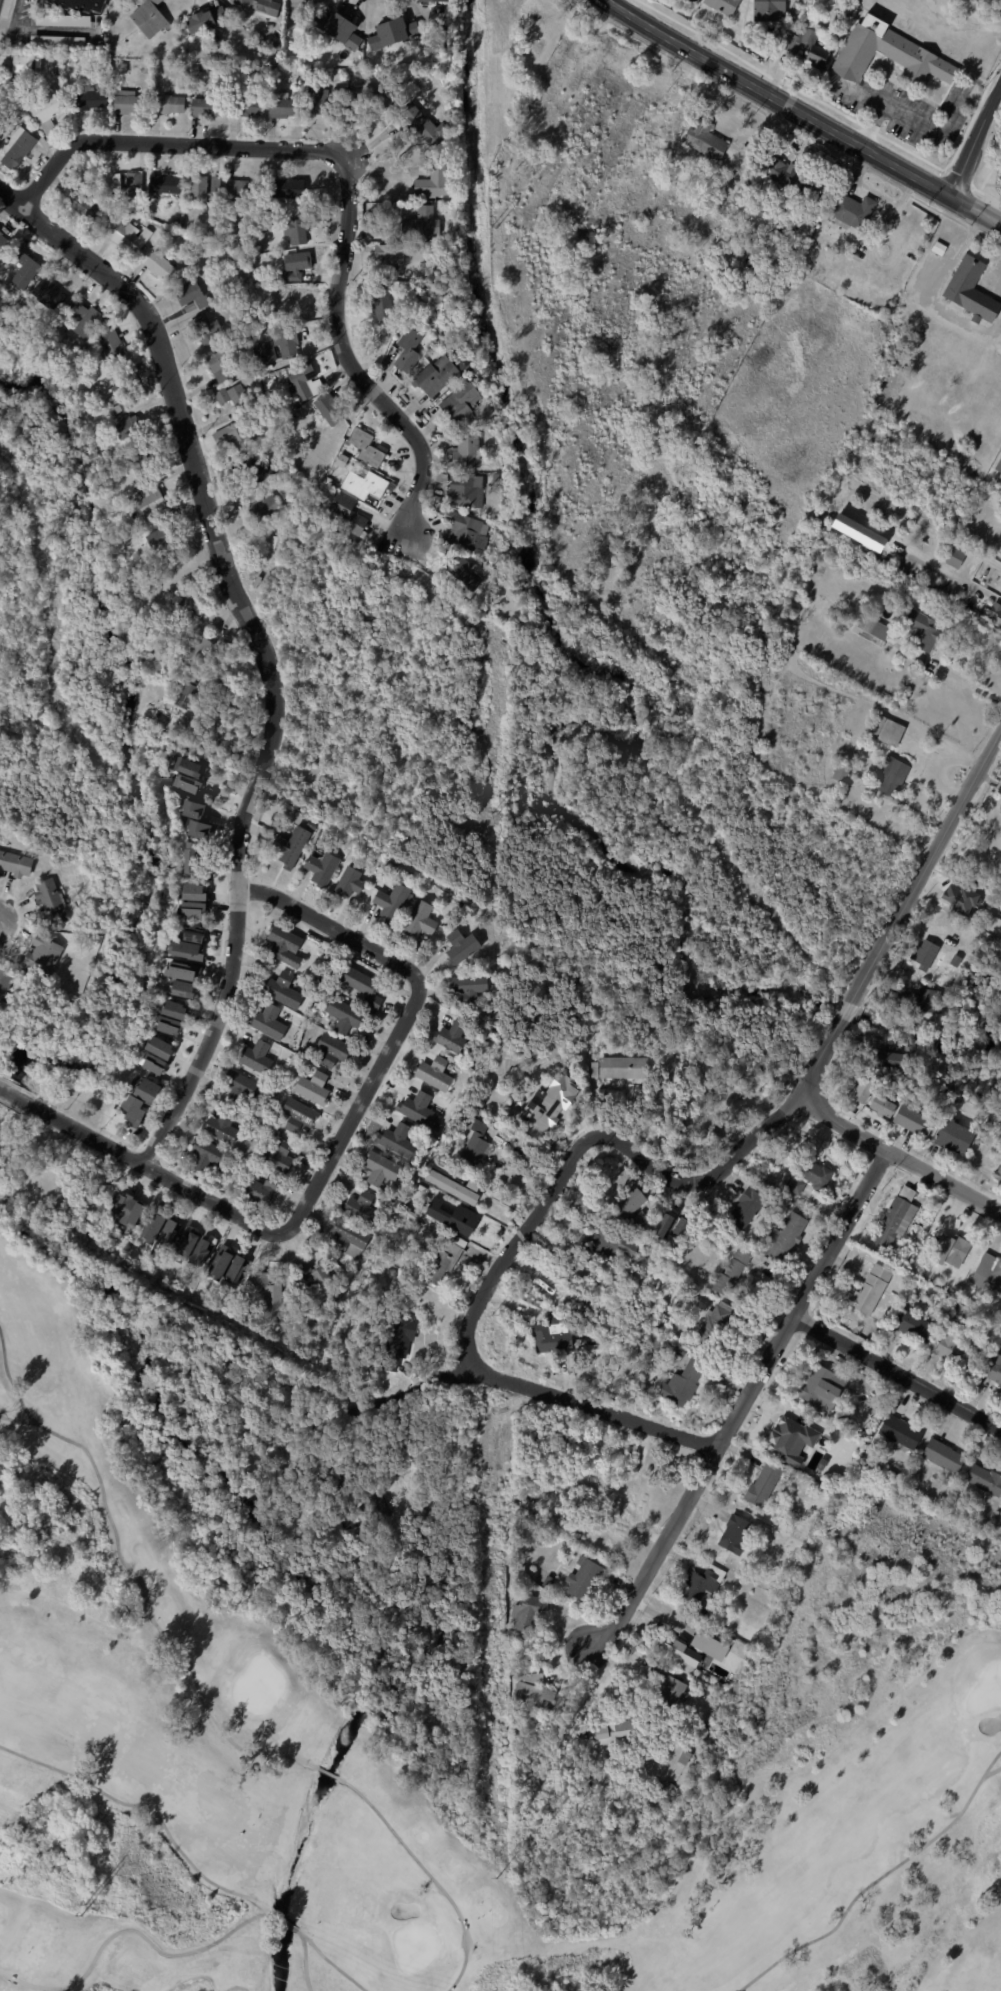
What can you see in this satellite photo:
building: (430, 0)
building: (695, 0)
building: (692, 1)
building: (244, 2)
building: (80, 4)
building: (721, 6)
building: (268, 7)
building: (681, 9)
building: (767, 9)
road: (11, 13)
building: (150, 18)
building: (205, 19)
road: (47, 28)
building: (337, 28)
building: (392, 32)
building: (827, 34)
building: (806, 46)
building: (891, 50)
building: (39, 62)
building: (73, 64)
building: (24, 66)
building: (206, 69)
building: (124, 70)
building: (253, 71)
building: (55, 75)
building: (19, 87)
building: (3, 90)
building: (369, 98)
building: (89, 101)
building: (320, 103)
building: (132, 104)
building: (171, 106)
building: (247, 108)
building: (288, 108)
building: (208, 109)
building: (48, 110)
road: (812, 110)
road: (924, 124)
building: (429, 127)
building: (3, 128)
building: (705, 138)
road: (976, 139)
building: (20, 149)
building: (784, 175)
building: (114, 181)
road: (349, 181)
building: (167, 183)
building: (136, 184)
building: (218, 184)
building: (438, 184)
building: (199, 187)
building: (289, 187)
building: (243, 190)
building: (182, 200)
building: (84, 203)
building: (853, 210)
building: (108, 224)
building: (425, 224)
power tower: (492, 226)
building: (300, 228)
building: (129, 236)
building: (3, 242)
building: (763, 243)
building: (938, 246)
building: (202, 249)
building: (389, 260)
building: (757, 263)
building: (162, 265)
building: (297, 265)
building: (28, 268)
building: (970, 290)
building: (51, 291)
building: (189, 293)
building: (287, 301)
building: (383, 302)
building: (192, 306)
building: (88, 319)
building: (412, 320)
building: (206, 328)
building: (246, 340)
building: (288, 340)
building: (114, 347)
building: (268, 350)
building: (410, 351)
building: (220, 364)
building: (440, 376)
building: (306, 381)
building: (121, 389)
building: (235, 396)
building: (462, 404)
building: (121, 407)
building: (330, 408)
road: (180, 415)
building: (279, 426)
building: (131, 429)
building: (240, 434)
building: (99, 446)
building: (368, 446)
building: (465, 453)
building: (145, 459)
building: (998, 461)
building: (344, 462)
building: (253, 469)
building: (367, 483)
power tower: (493, 487)
building: (469, 491)
building: (151, 499)
building: (263, 505)
building: (441, 508)
building: (352, 514)
building: (163, 532)
building: (470, 532)
building: (954, 557)
building: (464, 575)
building: (952, 595)
building: (190, 607)
building: (994, 614)
building: (872, 630)
building: (920, 630)
building: (200, 651)
road: (964, 680)
building: (188, 696)
building: (886, 730)
building: (193, 766)
building: (839, 771)
building: (890, 776)
building: (192, 782)
building: (196, 809)
power tower: (494, 813)
building: (202, 828)
building: (293, 846)
building: (190, 858)
building: (16, 863)
road: (926, 868)
building: (323, 869)
building: (350, 883)
building: (194, 891)
building: (959, 899)
building: (53, 901)
building: (394, 902)
building: (463, 904)
building: (191, 909)
building: (423, 920)
road: (332, 927)
building: (198, 932)
road: (236, 938)
building: (287, 946)
building: (463, 947)
building: (191, 950)
building: (46, 954)
building: (922, 954)
building: (953, 960)
building: (950, 970)
building: (186, 979)
building: (6, 981)
building: (365, 987)
building: (472, 987)
building: (286, 990)
building: (916, 1000)
building: (177, 1010)
road: (846, 1012)
building: (346, 1016)
building: (271, 1023)
building: (332, 1024)
building: (171, 1025)
building: (1, 1034)
building: (454, 1037)
building: (159, 1047)
building: (336, 1050)
power tower: (494, 1051)
building: (258, 1058)
road: (820, 1058)
building: (888, 1060)
building: (153, 1063)
building: (575, 1068)
building: (627, 1068)
building: (597, 1070)
building: (436, 1073)
building: (245, 1088)
building: (315, 1088)
building: (858, 1091)
road: (13, 1093)
building: (143, 1101)
building: (879, 1107)
road: (355, 1110)
building: (421, 1110)
building: (300, 1116)
building: (547, 1116)
building: (715, 1119)
building: (911, 1122)
building: (223, 1127)
road: (589, 1135)
building: (951, 1137)
building: (478, 1141)
building: (402, 1142)
building: (208, 1156)
building: (279, 1156)
road: (903, 1158)
road: (153, 1168)
building: (383, 1170)
building: (997, 1173)
building: (813, 1178)
building: (423, 1183)
building: (451, 1187)
building: (266, 1192)
building: (649, 1205)
building: (637, 1206)
building: (750, 1207)
building: (127, 1208)
building: (363, 1208)
building: (452, 1216)
building: (893, 1217)
building: (157, 1228)
building: (191, 1228)
building: (173, 1233)
building: (791, 1233)
building: (351, 1238)
building: (191, 1245)
building: (618, 1245)
building: (952, 1249)
building: (206, 1251)
building: (447, 1261)
building: (224, 1265)
building: (240, 1269)
building: (989, 1270)
building: (733, 1273)
building: (324, 1281)
building: (313, 1286)
building: (868, 1290)
building: (272, 1298)
building: (621, 1304)
power tower: (494, 1312)
building: (962, 1314)
building: (719, 1326)
building: (910, 1326)
building: (555, 1335)
building: (402, 1342)
building: (952, 1348)
building: (992, 1369)
road: (899, 1370)
building: (684, 1384)
building: (820, 1389)
road: (748, 1399)
road: (363, 1403)
road: (591, 1408)
building: (841, 1422)
building: (897, 1435)
building: (790, 1439)
building: (942, 1456)
building: (411, 1461)
building: (889, 1475)
building: (326, 1480)
building: (984, 1481)
building: (767, 1485)
building: (628, 1503)
building: (382, 1508)
building: (356, 1520)
building: (613, 1531)
building: (738, 1535)
building: (587, 1580)
building: (547, 1581)
building: (705, 1585)
road: (146, 1599)
park: (112, 1605)
building: (532, 1614)
building: (706, 1615)
power tower: (493, 1620)
building: (513, 1636)
building: (708, 1645)
building: (681, 1651)
park: (256, 1687)
park: (985, 1689)
building: (535, 1691)
building: (675, 1693)
building: (710, 1724)
building: (617, 1733)
building: (687, 1759)
road: (328, 1772)
building: (670, 1788)
road: (148, 1808)
road: (428, 1874)
power tower: (495, 1878)
road: (876, 1880)
power tower: (84, 1904)
power tower: (80, 1915)
road: (283, 1921)
road: (129, 1928)
park: (414, 1946)
road: (304, 1960)
road: (332, 1964)

